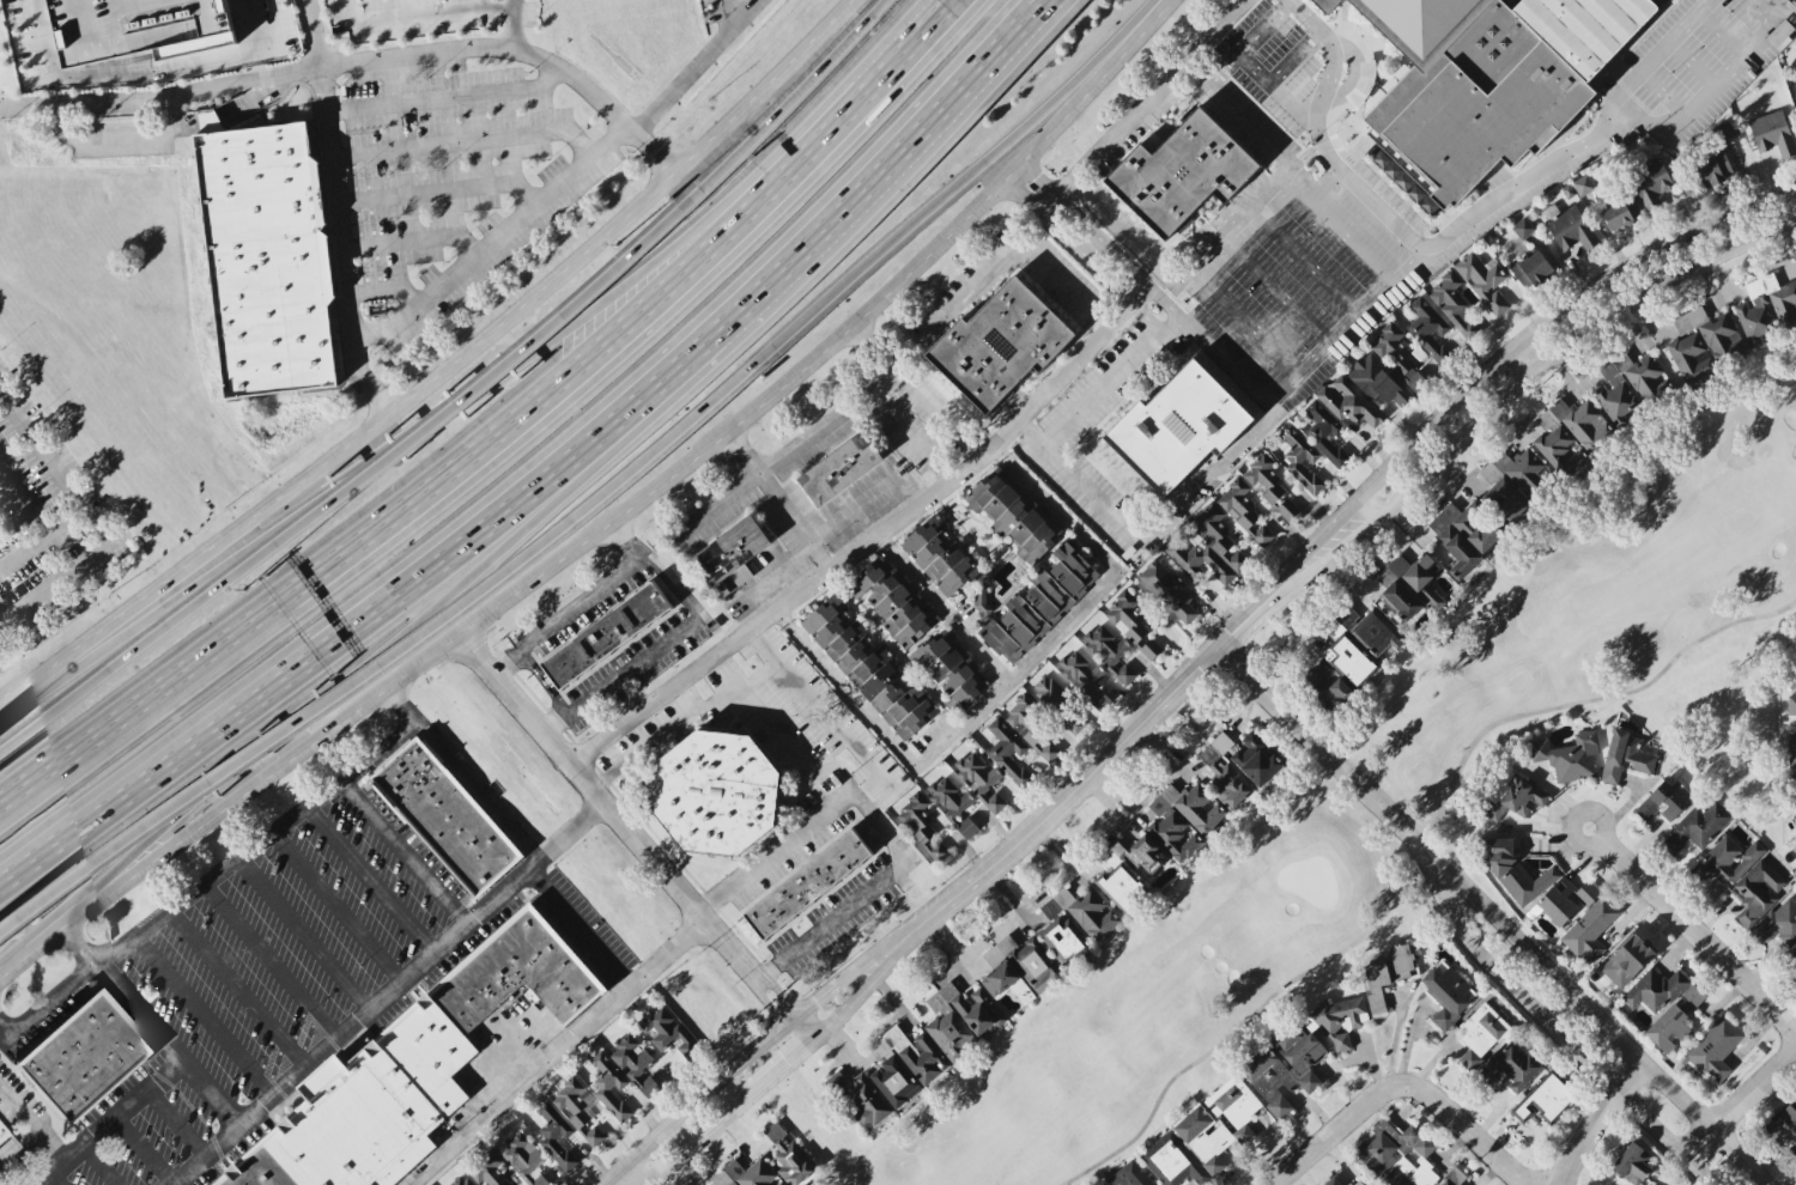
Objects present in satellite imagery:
road: (512, 1)
building: (1325, 4)
road: (727, 11)
road: (424, 12)
building: (174, 24)
road: (514, 25)
building: (1780, 32)
road: (1718, 34)
road: (1248, 45)
road: (1655, 53)
road: (1292, 59)
road: (357, 61)
road: (1689, 63)
road: (248, 66)
road: (693, 66)
road: (1728, 69)
road: (142, 71)
road: (878, 71)
road: (1354, 71)
building: (1795, 72)
building: (1486, 80)
road: (795, 86)
road: (1274, 90)
road: (1658, 96)
road: (443, 97)
road: (1139, 107)
road: (227, 111)
road: (1238, 116)
building: (208, 120)
road: (722, 130)
building: (1723, 130)
building: (1772, 132)
road: (116, 135)
road: (465, 141)
building: (1712, 166)
building: (1181, 172)
building: (1583, 183)
building: (1651, 184)
building: (1567, 190)
road: (438, 192)
road: (333, 211)
building: (1620, 212)
building: (1522, 226)
building: (1569, 226)
road: (1335, 231)
road: (1128, 238)
road: (1098, 241)
road: (409, 242)
road: (491, 243)
road: (1418, 245)
building: (265, 257)
road: (1081, 259)
road: (1303, 260)
building: (1530, 267)
road: (1408, 268)
road: (983, 274)
building: (1483, 281)
road: (383, 291)
road: (1272, 291)
building: (1451, 300)
building: (1766, 306)
road: (801, 320)
road: (1243, 321)
building: (1427, 326)
building: (1711, 329)
road: (1533, 332)
building: (1000, 344)
road: (536, 348)
building: (1397, 355)
building: (1689, 355)
road: (1530, 358)
road: (1225, 364)
road: (1547, 366)
road: (479, 379)
building: (1377, 381)
road: (1108, 382)
building: (1630, 382)
road: (1281, 389)
road: (412, 390)
building: (1345, 402)
road: (934, 414)
building: (1177, 426)
building: (1324, 431)
building: (1570, 432)
road: (908, 439)
building: (1300, 457)
road: (552, 468)
building: (839, 468)
road: (53, 469)
building: (1263, 476)
road: (757, 478)
road: (419, 481)
building: (1513, 481)
road: (777, 500)
road: (23, 503)
building: (1237, 503)
building: (1287, 508)
building: (1013, 513)
road: (608, 518)
building: (1261, 533)
building: (1464, 534)
building: (7, 535)
road: (1143, 536)
road: (41, 539)
road: (868, 539)
road: (625, 540)
road: (809, 545)
building: (1206, 546)
building: (939, 554)
building: (728, 557)
building: (867, 576)
building: (1412, 576)
road: (54, 583)
building: (1167, 589)
park: (1602, 594)
building: (1400, 598)
building: (981, 600)
building: (1039, 602)
building: (900, 607)
road: (941, 608)
building: (1125, 615)
road: (565, 616)
road: (123, 625)
building: (1363, 630)
building: (603, 634)
building: (844, 639)
building: (1149, 648)
building: (1108, 650)
road: (651, 652)
road: (376, 654)
road: (115, 657)
building: (1348, 660)
building: (1080, 668)
building: (949, 669)
building: (1792, 670)
road: (1003, 685)
building: (1048, 688)
building: (1339, 688)
building: (1099, 699)
building: (897, 700)
building: (1791, 704)
road: (826, 718)
road: (680, 719)
building: (1074, 722)
building: (1030, 727)
road: (782, 742)
road: (1318, 742)
building: (1791, 748)
building: (1007, 750)
road: (1109, 752)
building: (1570, 755)
building: (1624, 755)
building: (1255, 759)
building: (1222, 771)
road: (213, 776)
road: (460, 777)
building: (981, 778)
building: (1791, 788)
building: (714, 795)
building: (1512, 796)
building: (948, 797)
building: (1663, 800)
building: (444, 818)
building: (1184, 819)
building: (1698, 824)
building: (921, 826)
building: (966, 826)
road: (632, 838)
road: (404, 852)
road: (773, 852)
building: (1130, 853)
building: (1731, 857)
road: (208, 879)
road: (370, 880)
building: (1536, 882)
building: (806, 885)
building: (1122, 887)
building: (1756, 891)
road: (866, 893)
road: (238, 904)
road: (335, 907)
building: (1778, 922)
road: (216, 923)
building: (1058, 926)
road: (578, 929)
building: (1589, 929)
road: (302, 935)
road: (1697, 935)
building: (1794, 950)
building: (1626, 960)
building: (1019, 967)
building: (1385, 972)
building: (512, 974)
road: (236, 987)
road: (292, 989)
road: (387, 993)
building: (1448, 993)
park: (1154, 1004)
building: (1664, 1004)
road: (1594, 1013)
road: (204, 1015)
building: (960, 1016)
building: (1336, 1019)
road: (1549, 1026)
road: (150, 1029)
road: (503, 1029)
building: (667, 1029)
road: (5, 1033)
building: (1481, 1033)
building: (1713, 1047)
road: (556, 1052)
building: (427, 1053)
road: (736, 1059)
building: (81, 1061)
building: (633, 1062)
building: (904, 1062)
building: (1282, 1065)
building: (1511, 1065)
road: (773, 1072)
building: (608, 1083)
road: (1395, 1086)
building: (858, 1095)
building: (1542, 1098)
road: (1739, 1099)
building: (1233, 1100)
building: (571, 1102)
building: (1789, 1112)
road: (1594, 1118)
building: (368, 1119)
road: (110, 1122)
road: (175, 1122)
road: (32, 1126)
building: (1243, 1132)
building: (554, 1134)
building: (593, 1135)
building: (7, 1145)
building: (1188, 1148)
road: (142, 1151)
building: (1398, 1154)
building: (788, 1155)
building: (299, 1156)
building: (524, 1159)
building: (1632, 1161)
road: (98, 1166)
building: (487, 1169)
building: (260, 1171)
building: (752, 1173)
building: (1128, 1175)
building: (1452, 1177)
road: (618, 1178)
building: (461, 1179)
road: (55, 1180)
building: (226, 1181)
building: (1331, 1181)
building: (1357, 1181)

